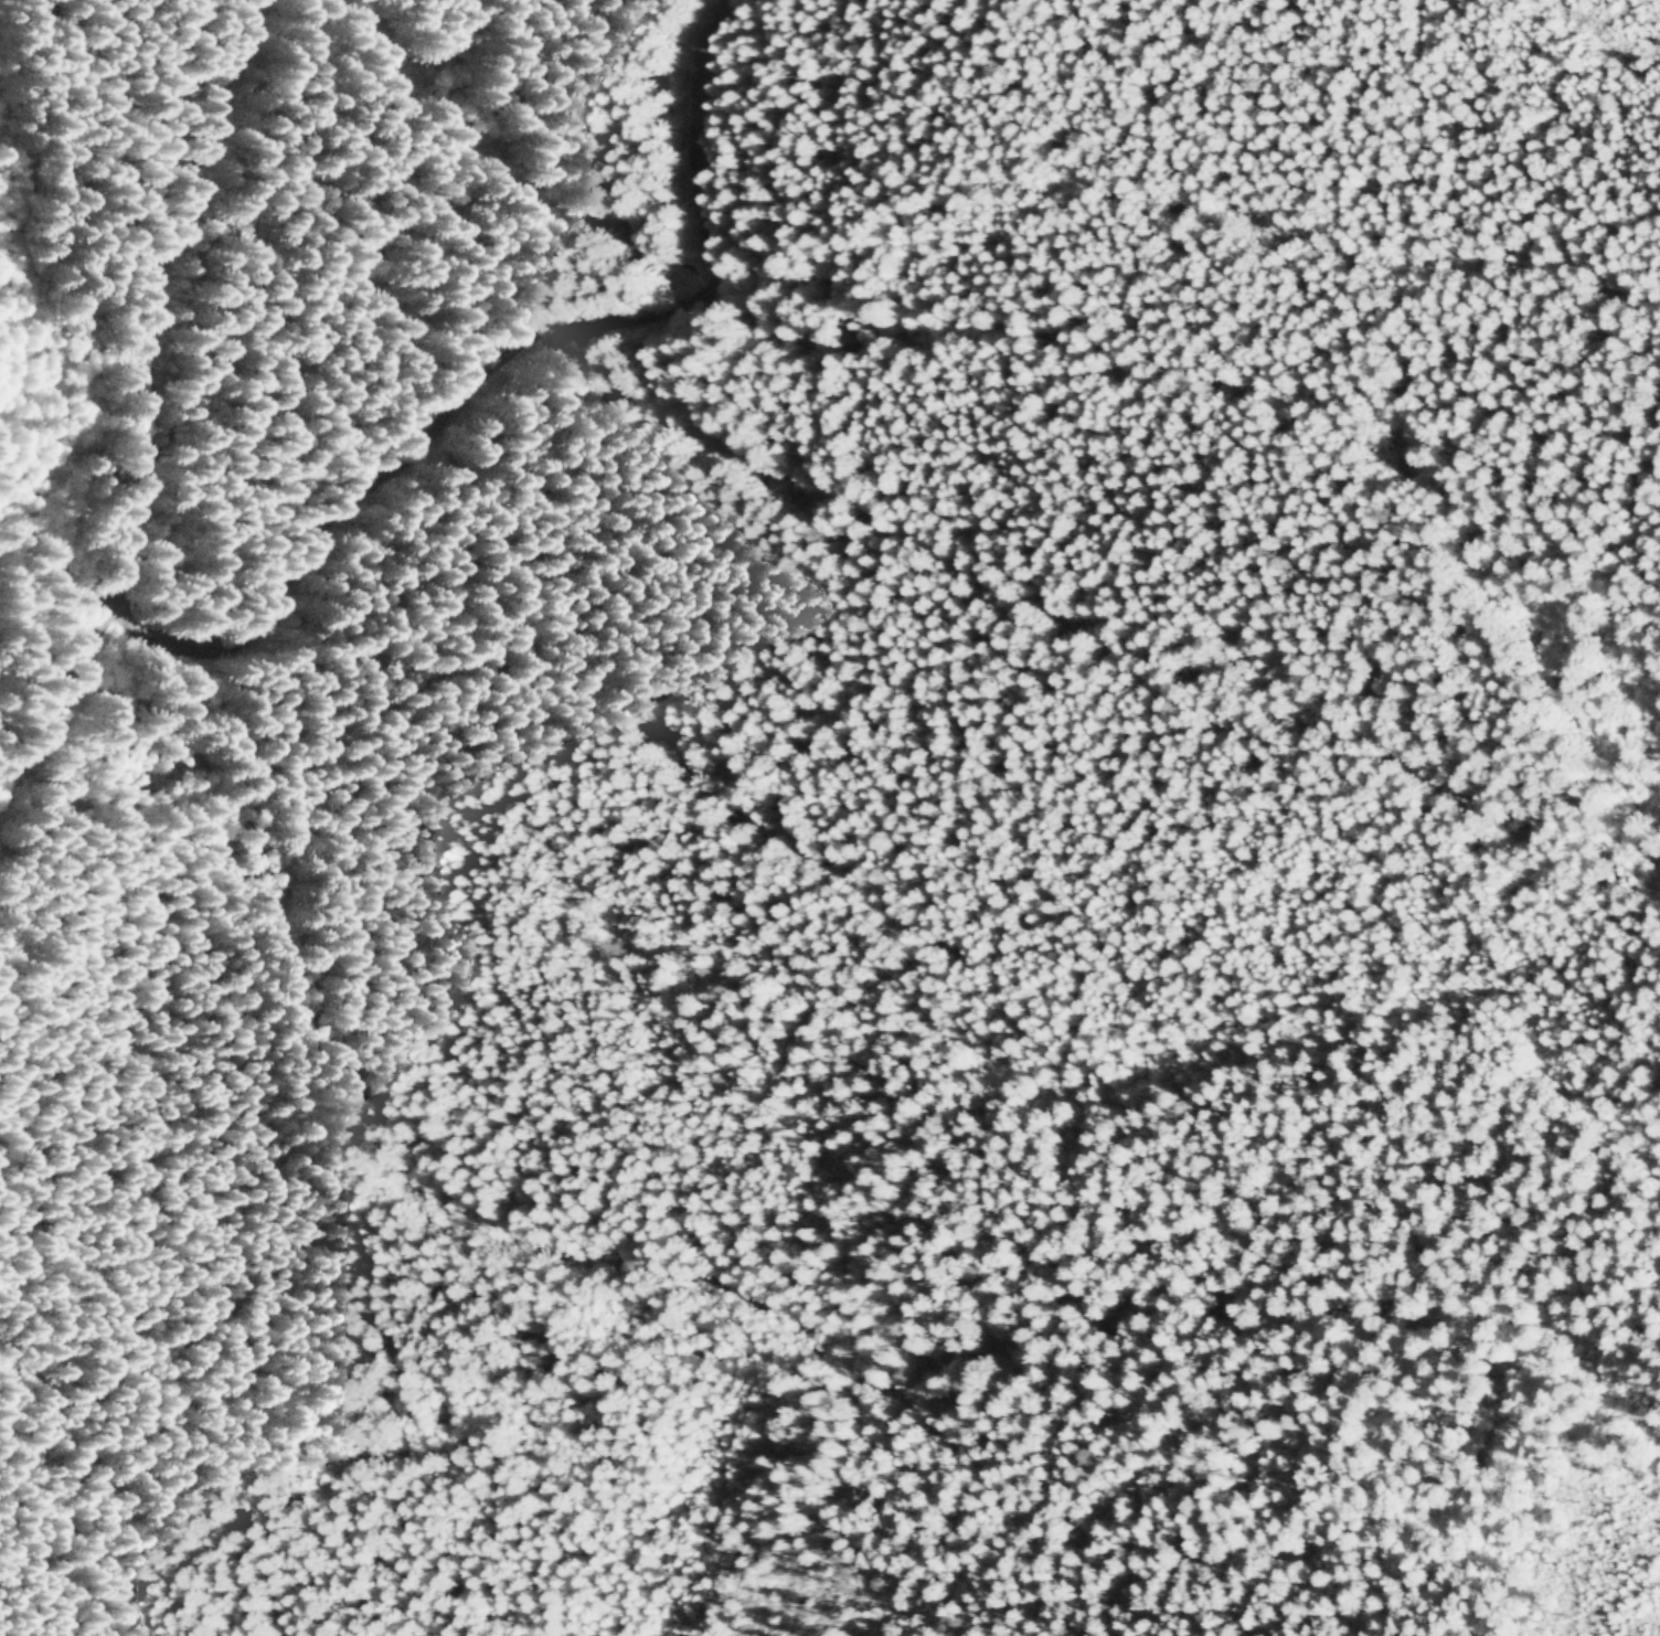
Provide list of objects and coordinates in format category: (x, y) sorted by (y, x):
road: (182, 300)
road: (504, 381)
road: (63, 729)

